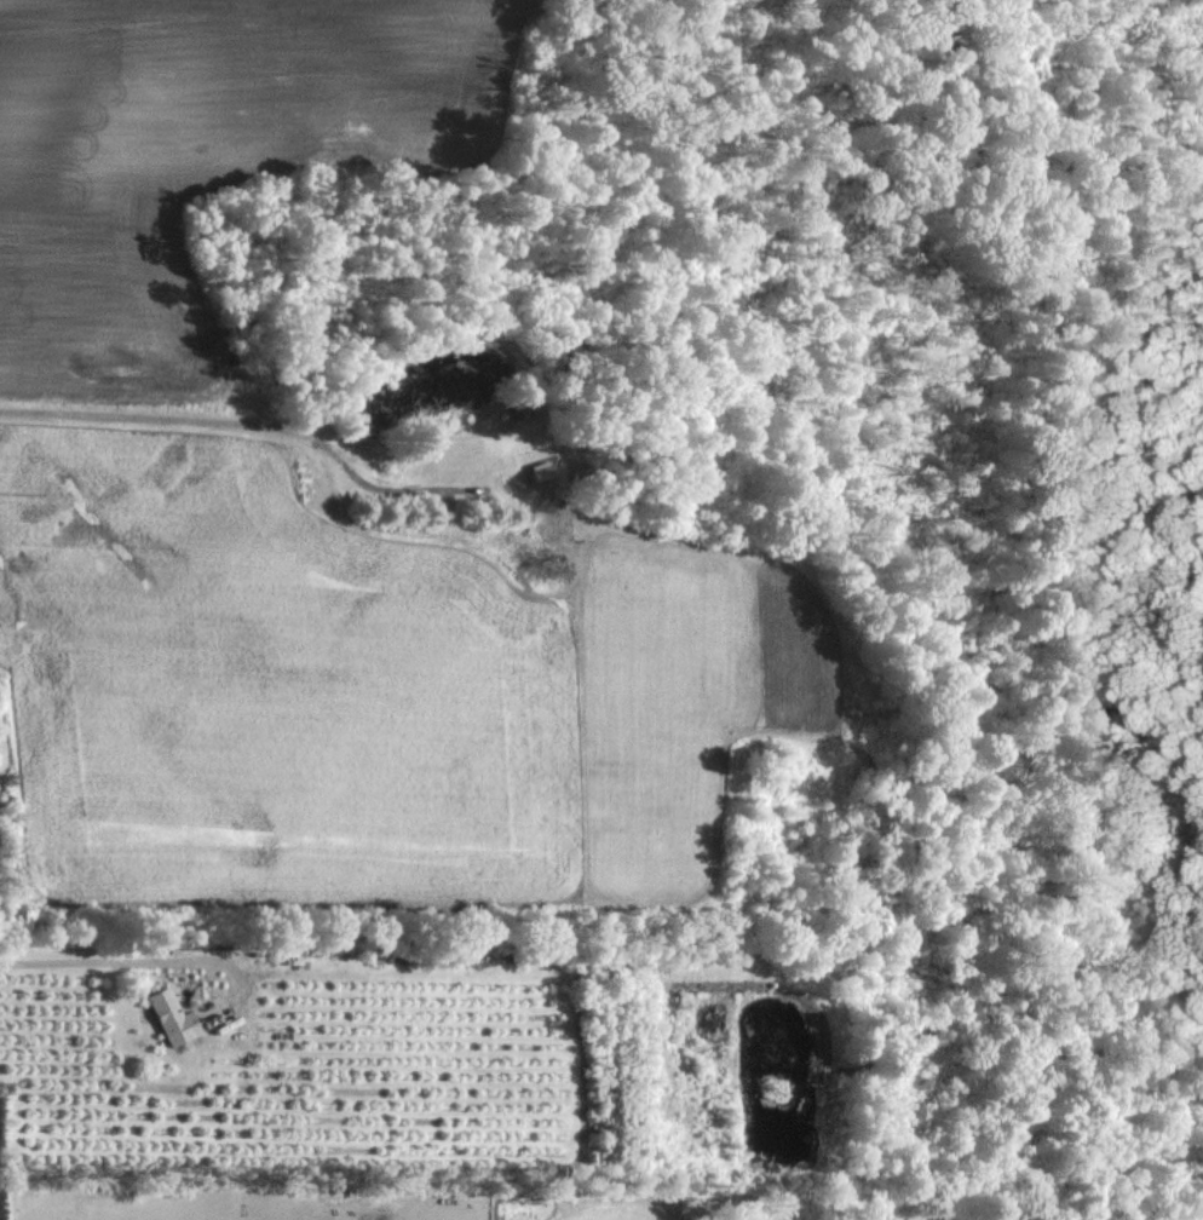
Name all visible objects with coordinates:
road: (104, 965)
building: (149, 1015)

